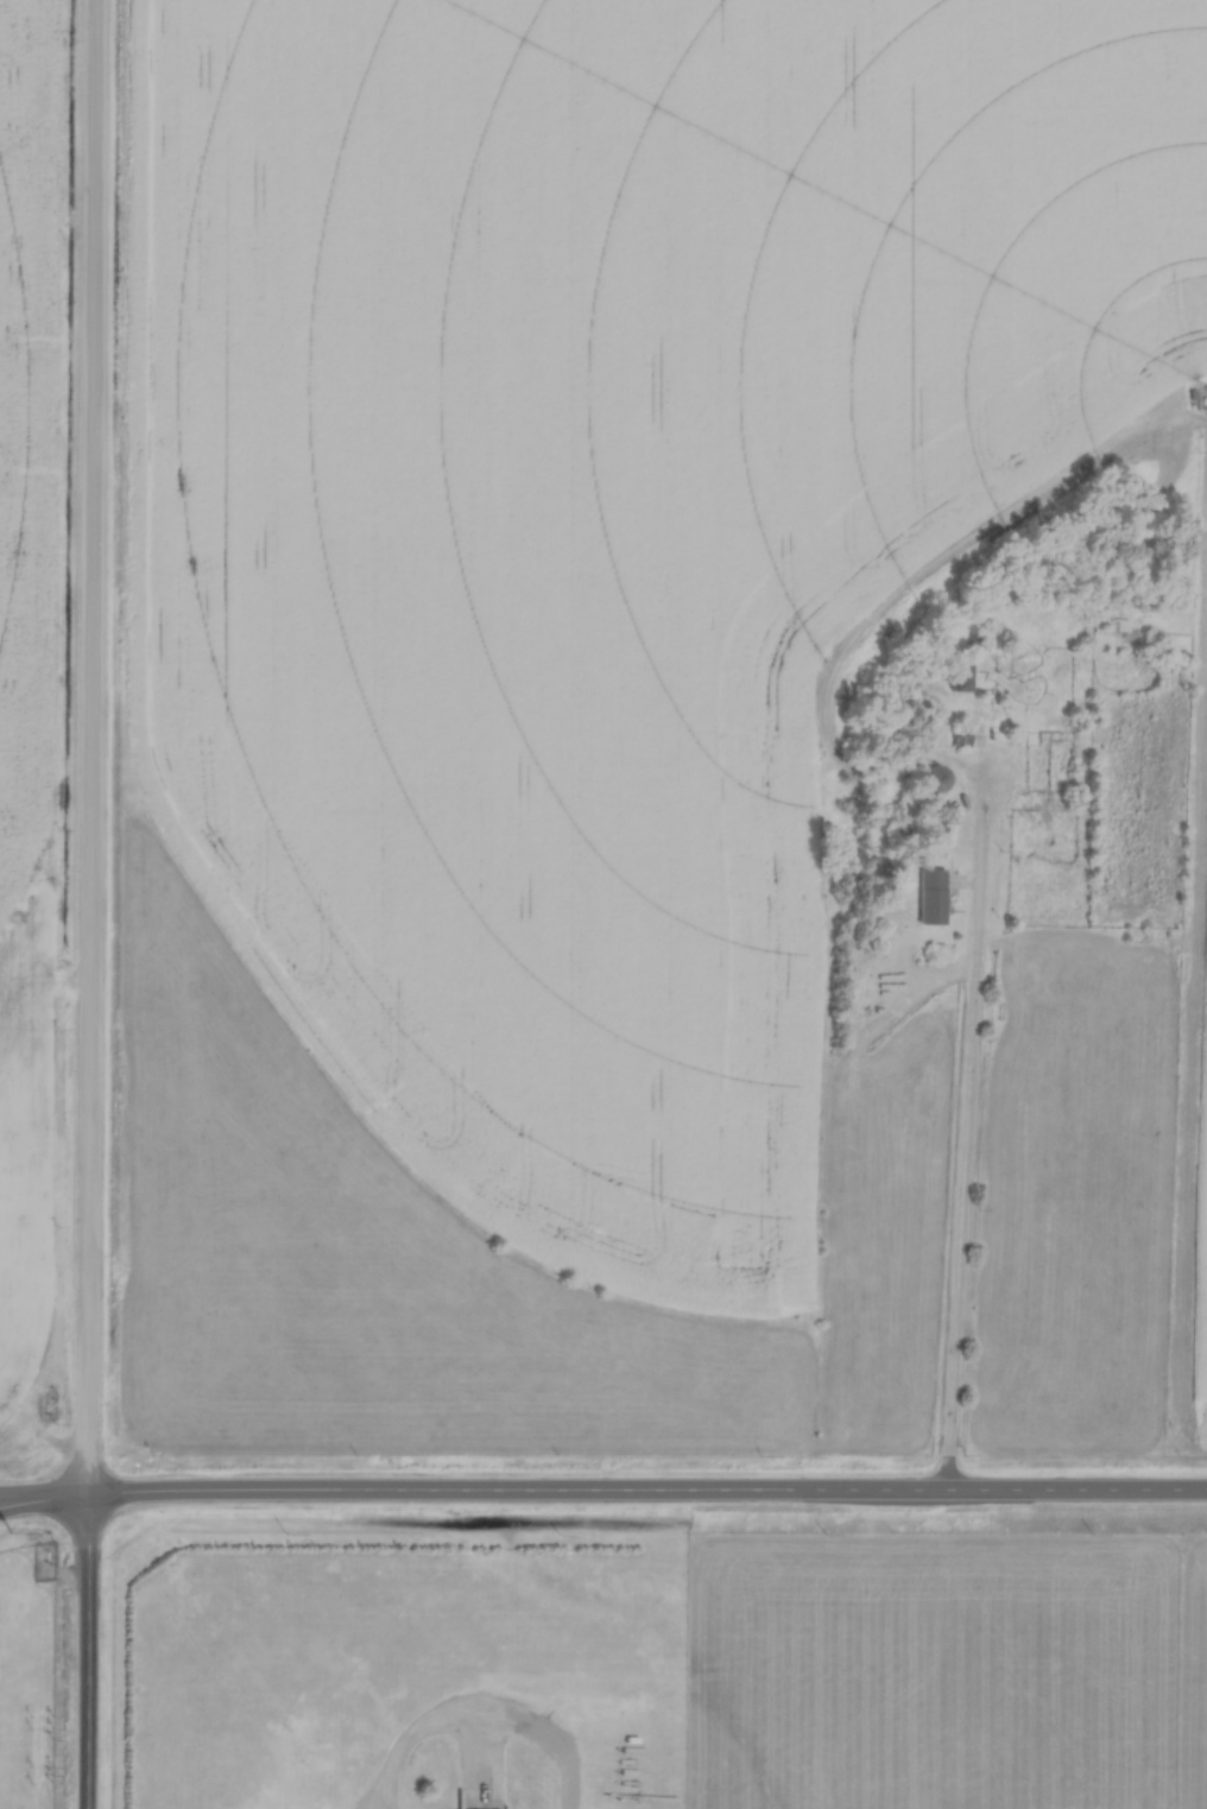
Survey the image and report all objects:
building: (1120, 625)
building: (982, 640)
building: (960, 671)
building: (961, 735)
road: (87, 746)
building: (925, 777)
building: (936, 829)
building: (929, 897)
road: (967, 1120)
road: (613, 1487)
road: (11, 1498)
road: (11, 1501)
road: (90, 1650)

